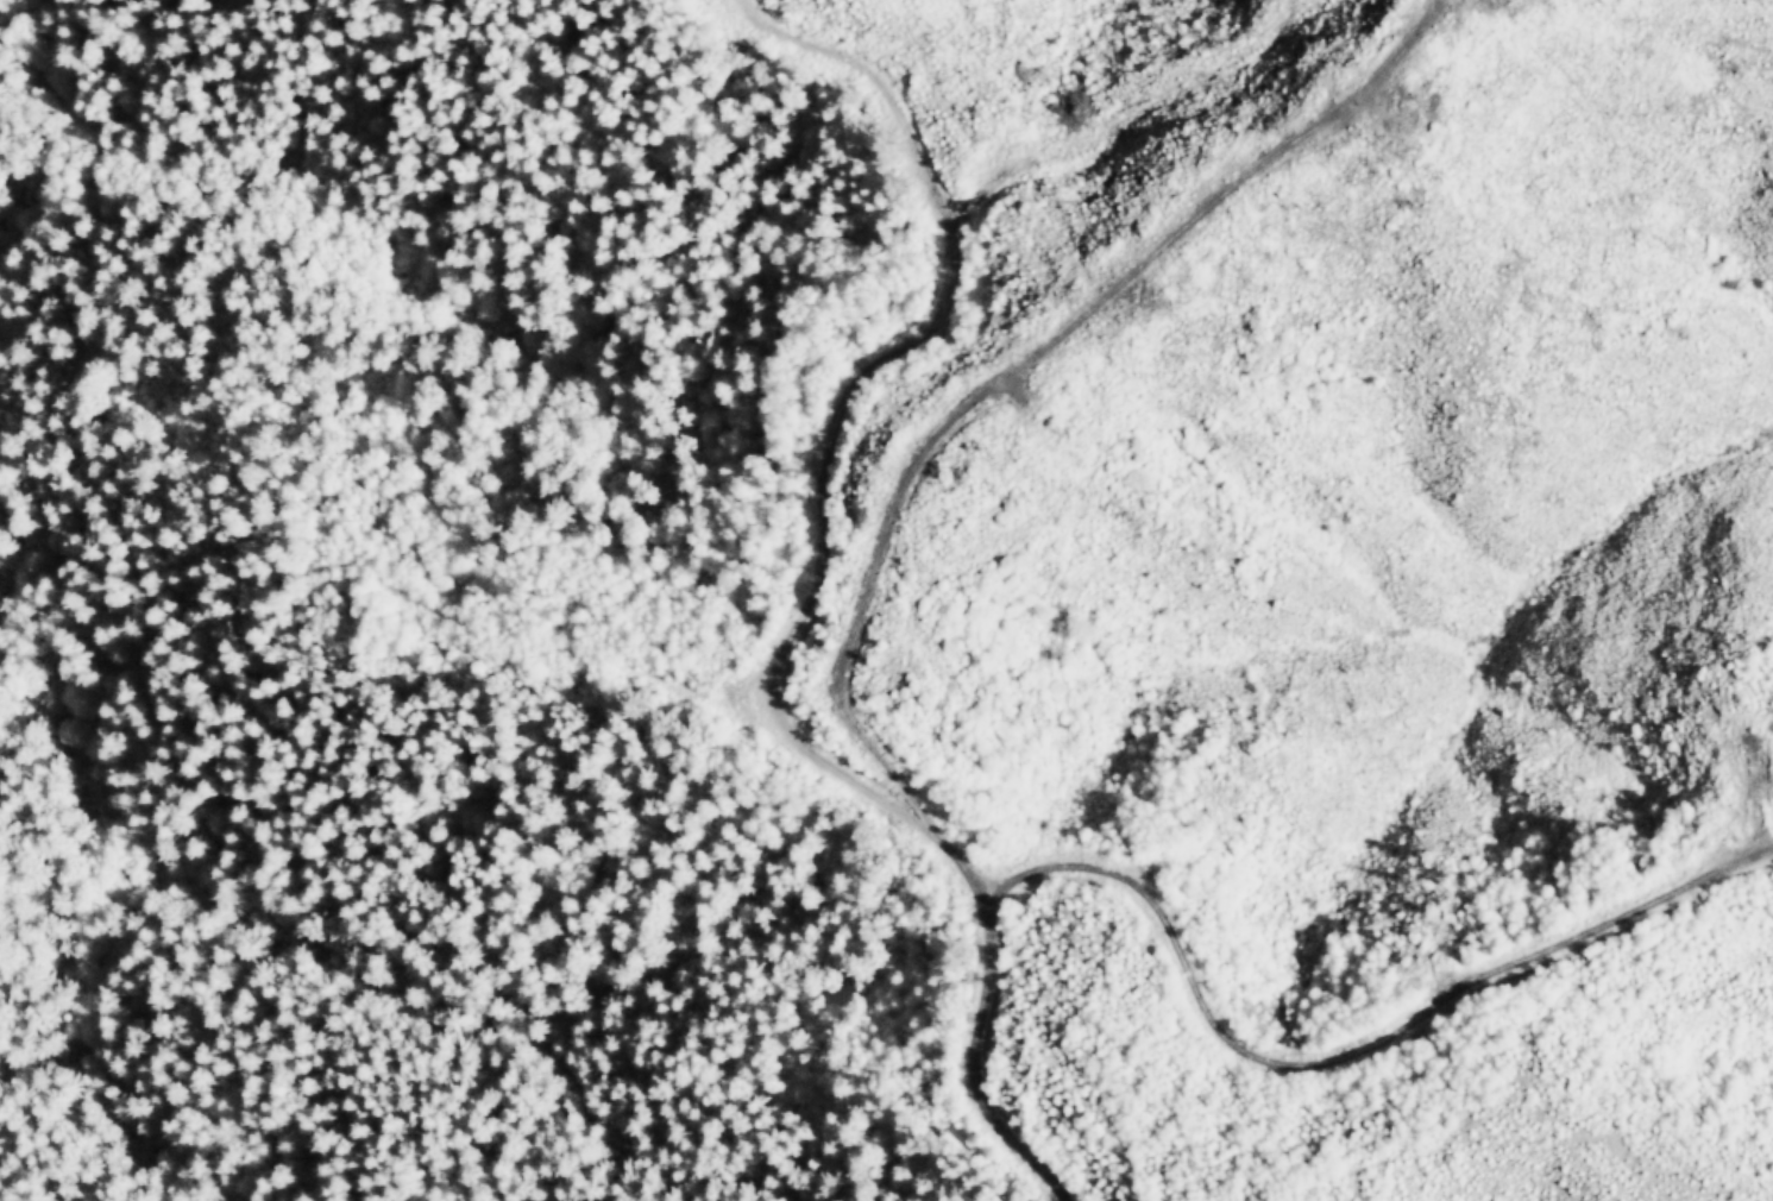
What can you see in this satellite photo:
road: (857, 385)
road: (960, 1024)
road: (1334, 1051)

